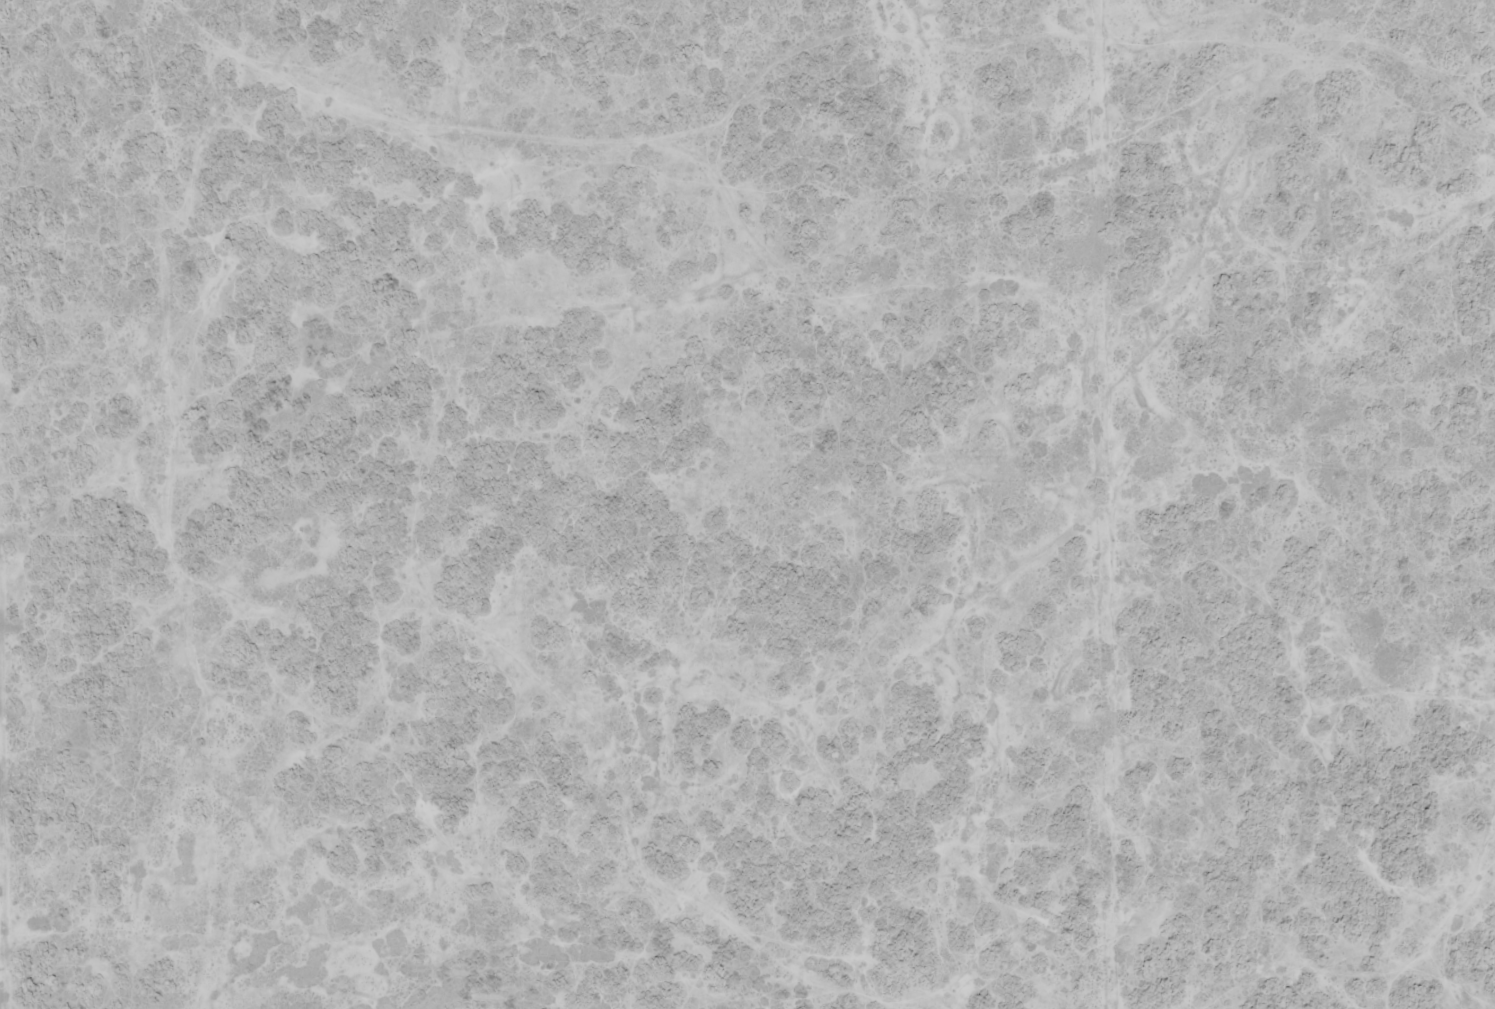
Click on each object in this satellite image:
road: (9, 534)
road: (1, 951)

